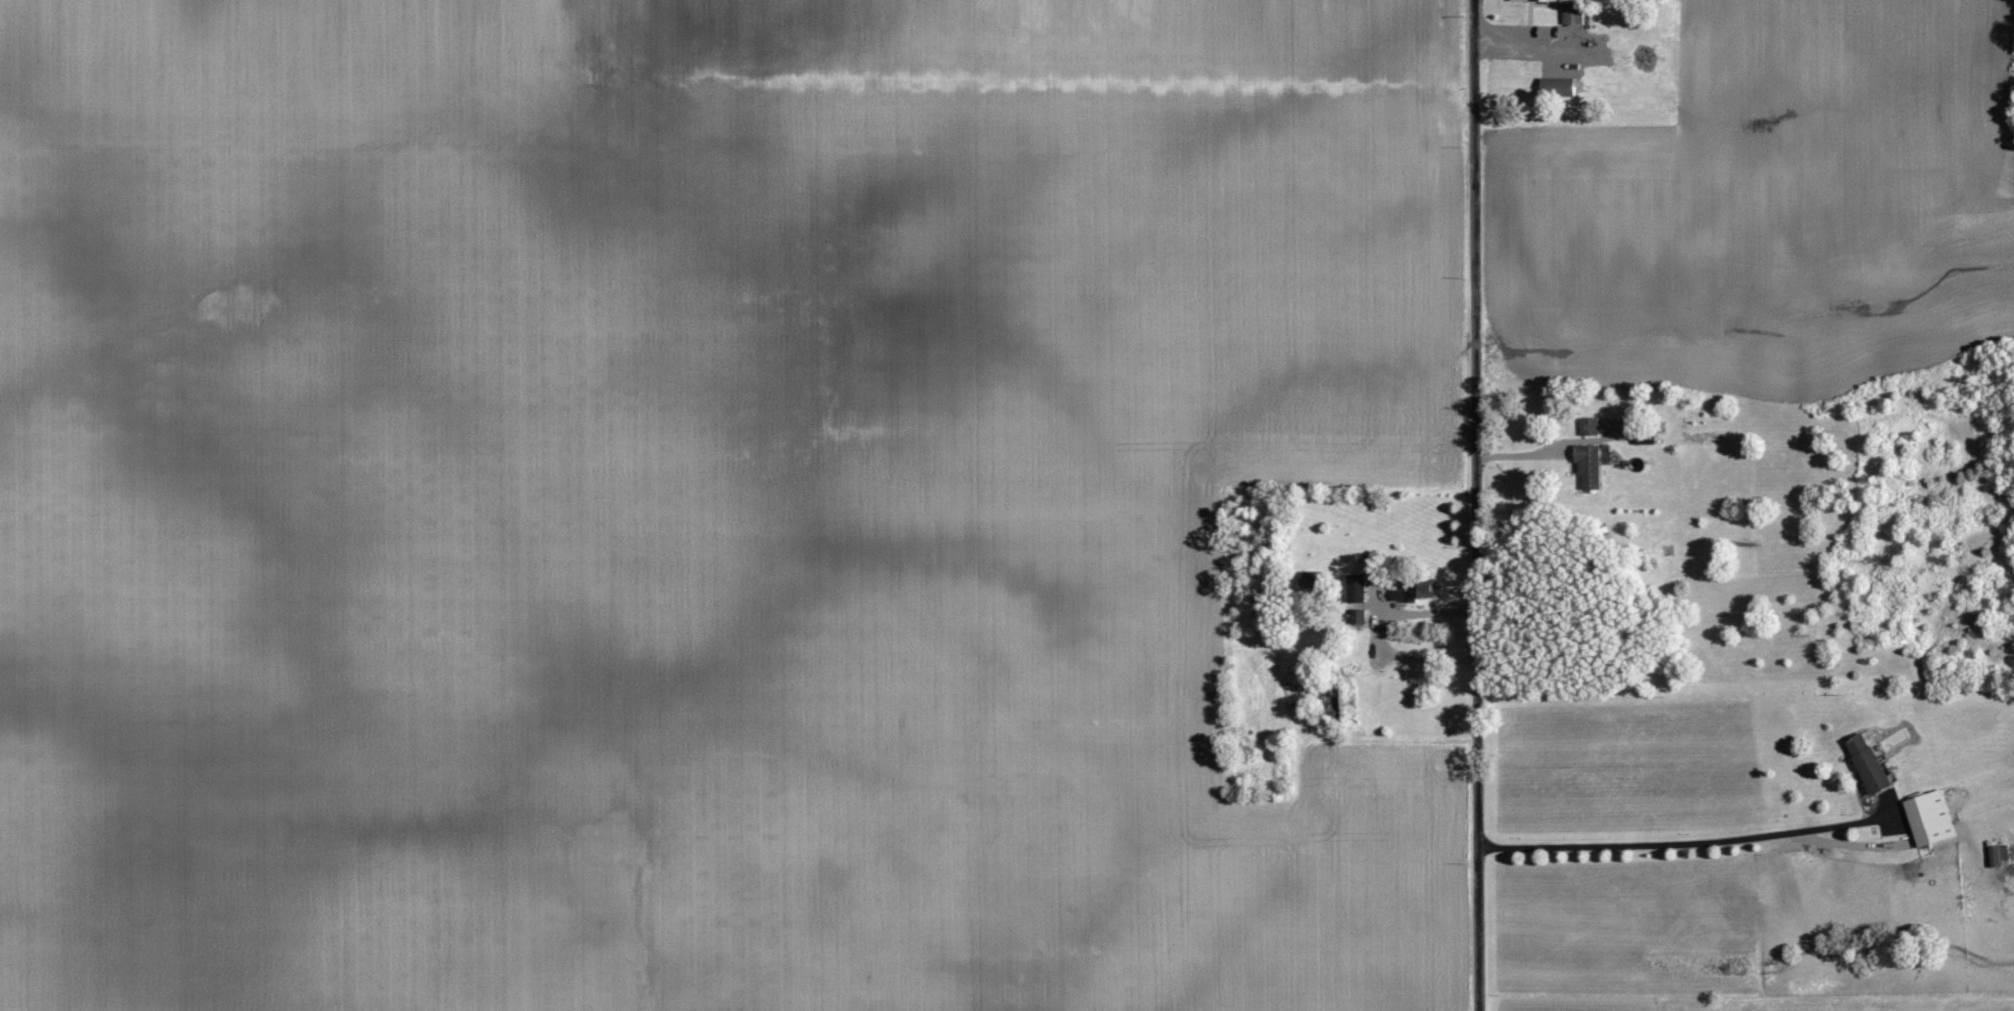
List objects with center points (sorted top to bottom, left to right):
building: (1576, 13)
building: (1592, 425)
road: (1549, 448)
building: (1591, 466)
road: (1474, 505)
building: (1360, 587)
building: (1419, 591)
road: (1381, 631)
building: (1873, 762)
building: (1934, 817)
road: (1686, 842)

